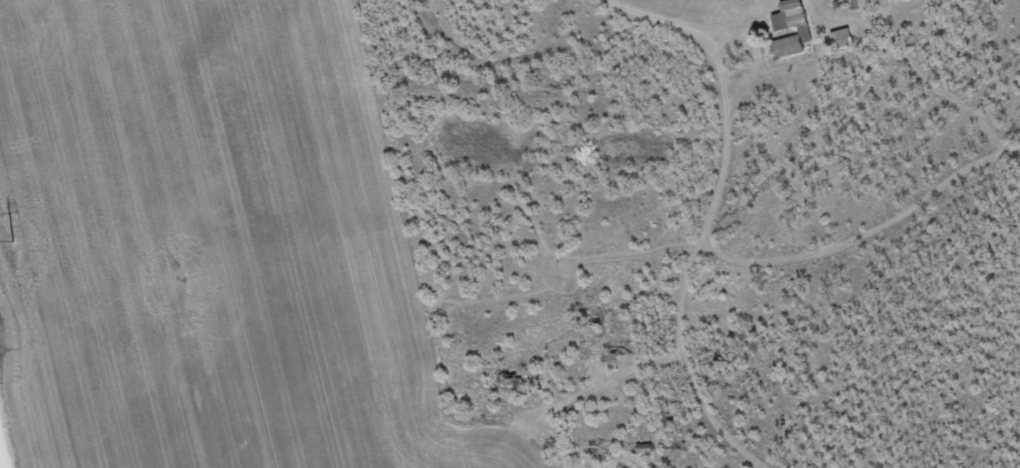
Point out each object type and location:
building: (782, 32)
building: (845, 41)
road: (723, 118)
power tower: (14, 243)
building: (725, 364)

